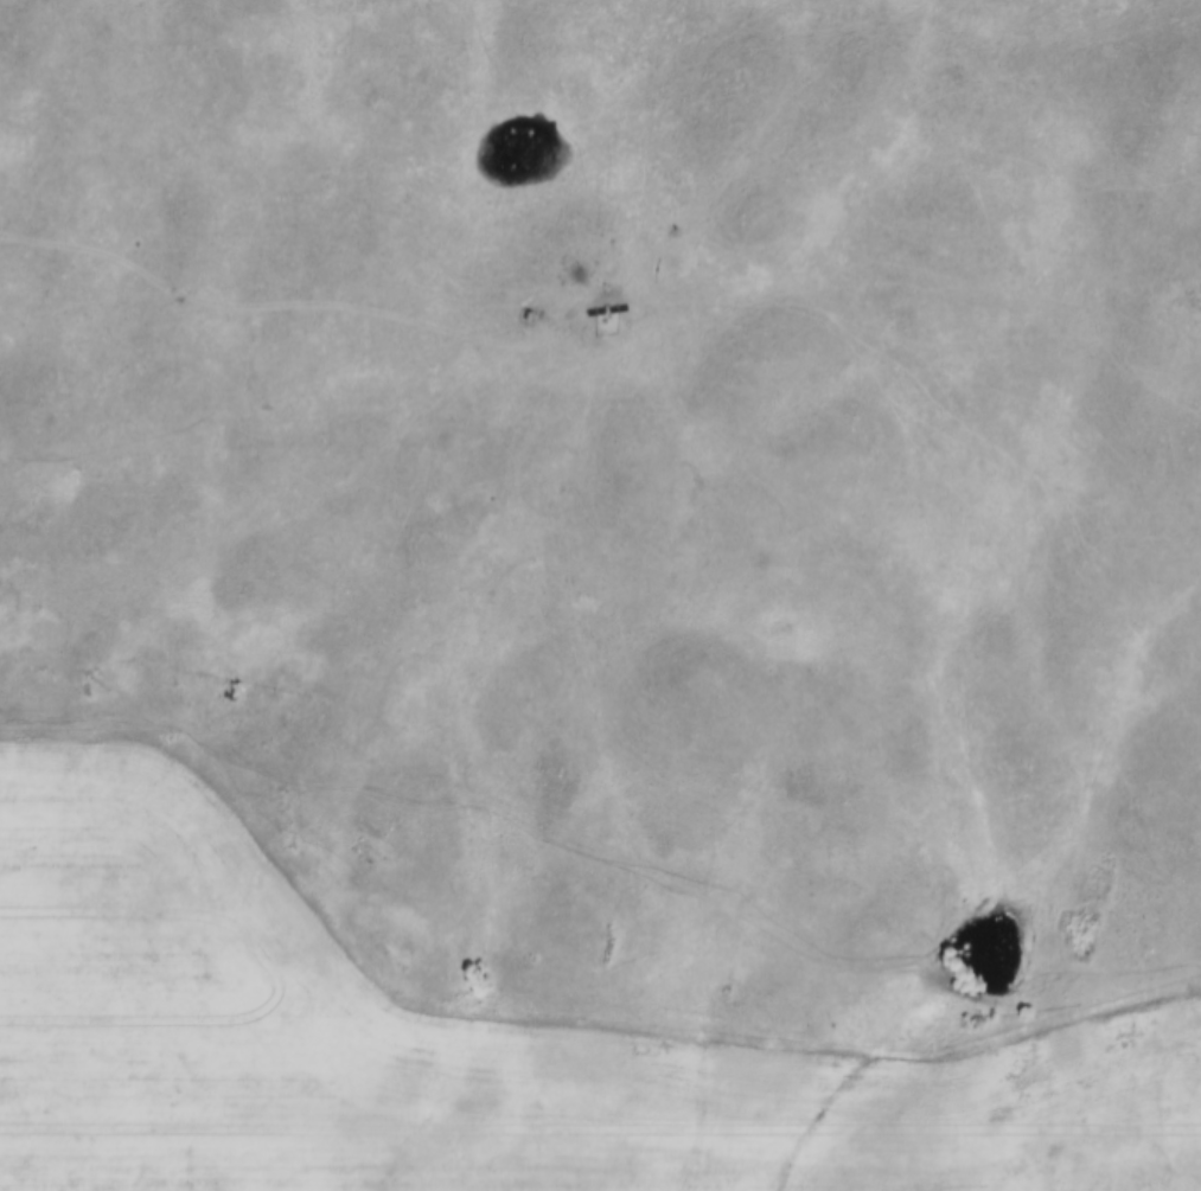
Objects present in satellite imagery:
crop: (462, 1045)

